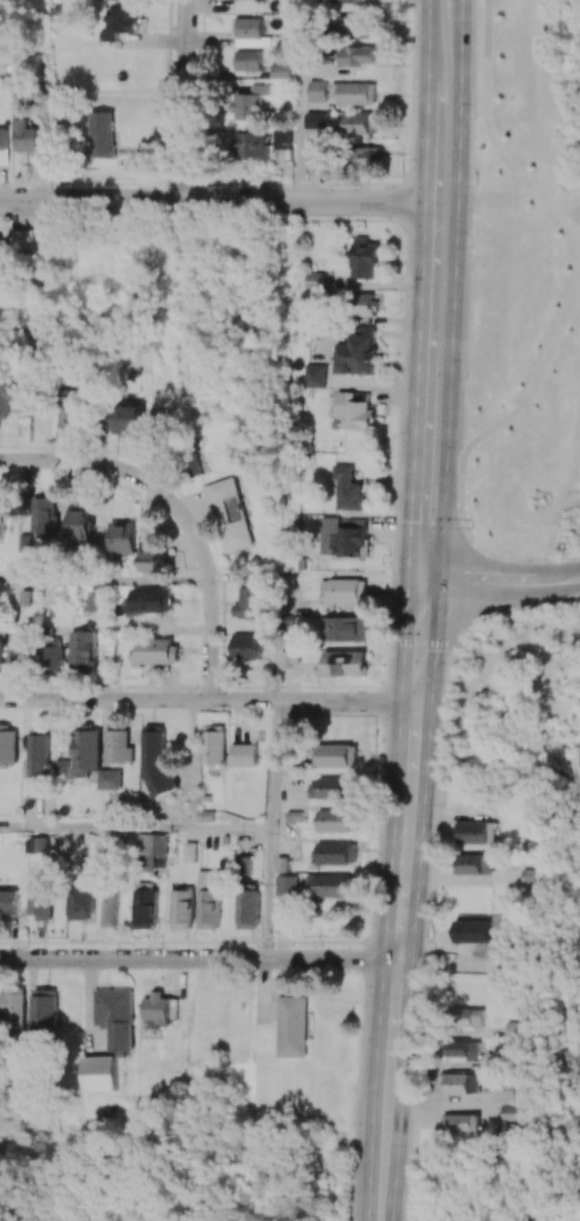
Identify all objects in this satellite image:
building: (354, 1)
building: (121, 23)
building: (354, 24)
building: (249, 28)
building: (358, 55)
building: (249, 60)
building: (281, 71)
building: (317, 91)
building: (355, 93)
road: (187, 100)
road: (299, 100)
building: (250, 103)
building: (317, 120)
road: (489, 120)
building: (364, 123)
building: (102, 134)
building: (28, 135)
building: (4, 139)
building: (282, 139)
building: (254, 146)
building: (372, 157)
building: (318, 159)
road: (212, 202)
road: (573, 206)
road: (573, 218)
building: (23, 239)
building: (0, 246)
building: (366, 258)
building: (365, 305)
building: (359, 352)
building: (313, 376)
road: (416, 379)
road: (450, 380)
building: (7, 398)
building: (354, 410)
building: (71, 413)
road: (511, 417)
building: (124, 419)
road: (87, 462)
building: (347, 489)
building: (231, 513)
building: (4, 517)
building: (45, 517)
building: (83, 520)
building: (126, 537)
building: (349, 538)
building: (153, 556)
traffic signals: (407, 580)
road: (573, 580)
traffic signals: (438, 581)
road: (104, 582)
road: (486, 582)
road: (469, 586)
building: (344, 591)
road: (209, 593)
building: (92, 598)
building: (149, 600)
road: (572, 603)
building: (250, 604)
road: (512, 610)
building: (342, 629)
road: (463, 640)
road: (422, 645)
building: (249, 647)
building: (19, 649)
building: (83, 649)
building: (155, 651)
building: (51, 655)
building: (0, 657)
building: (289, 659)
building: (343, 664)
road: (215, 701)
building: (215, 745)
building: (8, 746)
building: (120, 746)
building: (39, 752)
building: (244, 755)
building: (336, 756)
building: (157, 759)
building: (88, 762)
building: (331, 788)
building: (337, 820)
road: (136, 829)
road: (273, 830)
building: (475, 832)
building: (38, 844)
building: (152, 851)
building: (190, 853)
building: (336, 853)
building: (475, 863)
building: (244, 866)
building: (535, 877)
building: (287, 885)
building: (331, 885)
road: (432, 896)
building: (208, 899)
building: (79, 901)
building: (8, 902)
building: (41, 902)
building: (109, 905)
building: (144, 905)
building: (182, 909)
building: (248, 909)
building: (472, 932)
road: (397, 950)
road: (199, 960)
building: (13, 1008)
building: (45, 1009)
building: (158, 1011)
building: (116, 1018)
building: (468, 1018)
building: (293, 1027)
building: (465, 1050)
building: (99, 1074)
building: (463, 1083)
building: (508, 1089)
building: (515, 1113)
building: (462, 1122)
road: (384, 1182)
road: (414, 1185)

